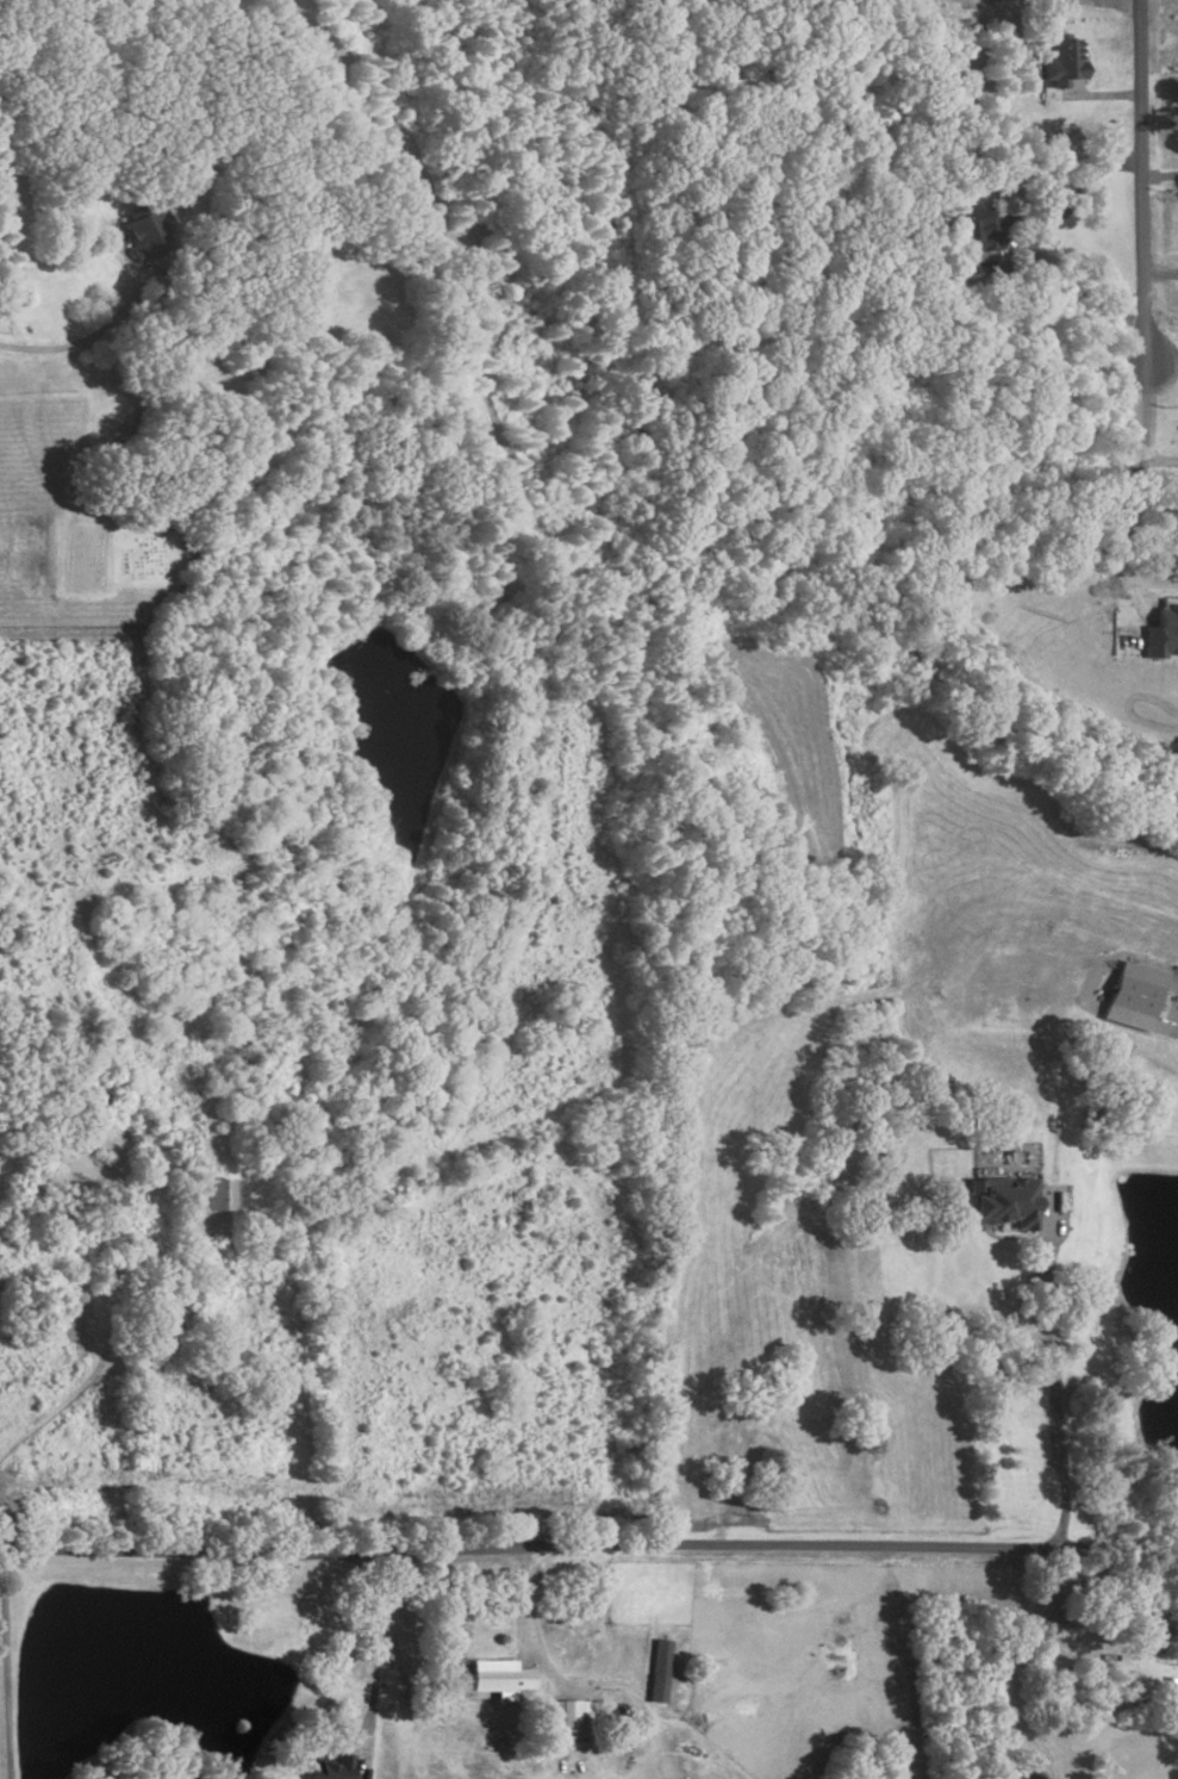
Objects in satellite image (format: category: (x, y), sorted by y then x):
road: (1112, 4)
building: (1060, 64)
road: (1103, 98)
road: (1158, 178)
road: (1139, 180)
building: (968, 230)
building: (142, 234)
road: (1037, 236)
road: (1158, 272)
road: (81, 342)
road: (1141, 425)
road: (1114, 529)
building: (1161, 629)
building: (1133, 995)
building: (890, 1164)
building: (214, 1195)
building: (1003, 1202)
road: (1053, 1379)
road: (73, 1394)
road: (588, 1543)
road: (524, 1604)
building: (1151, 1636)
building: (586, 1655)
road: (1, 1662)
road: (374, 1662)
building: (656, 1673)
building: (497, 1678)
road: (571, 1690)
building: (568, 1721)
building: (331, 1769)

